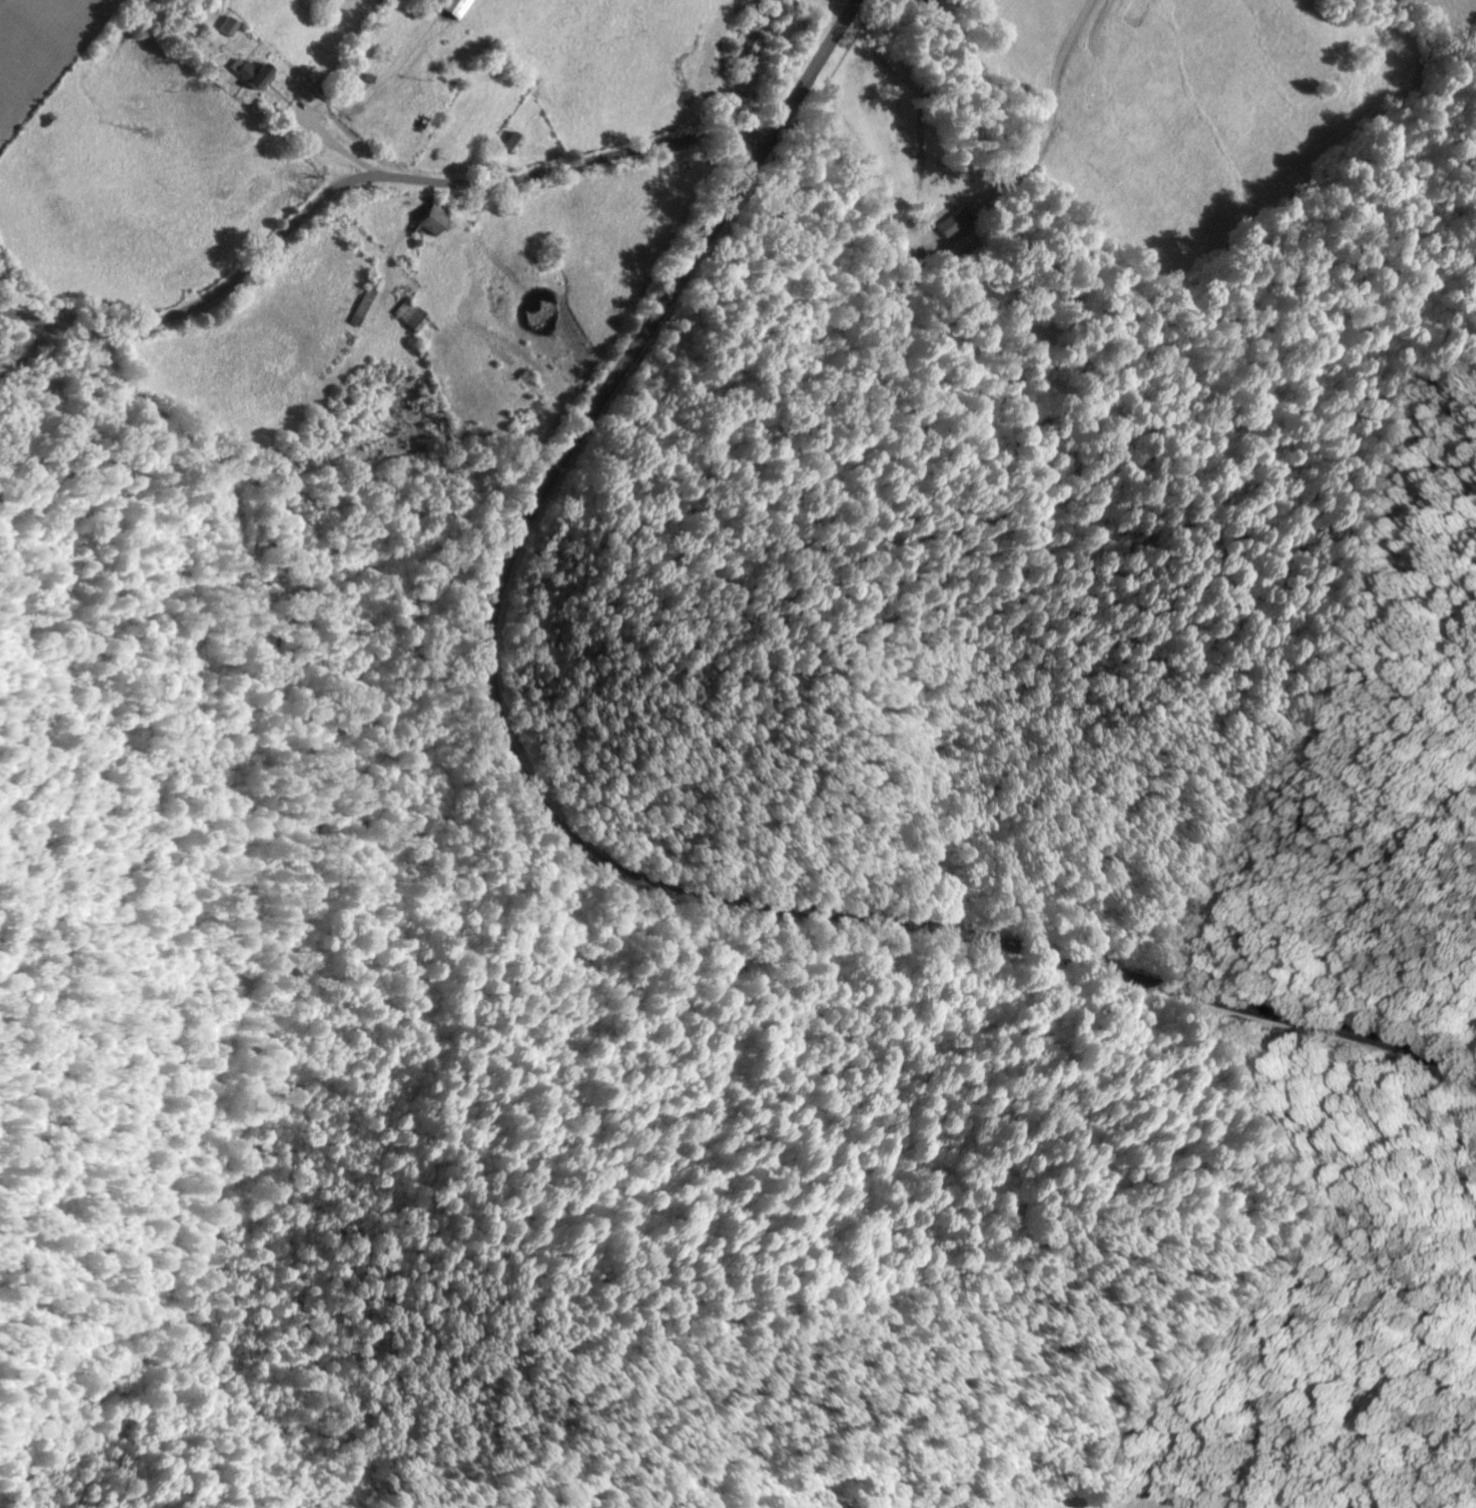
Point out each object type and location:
building: (229, 25)
building: (254, 71)
road: (360, 177)
building: (436, 220)
road: (560, 837)

